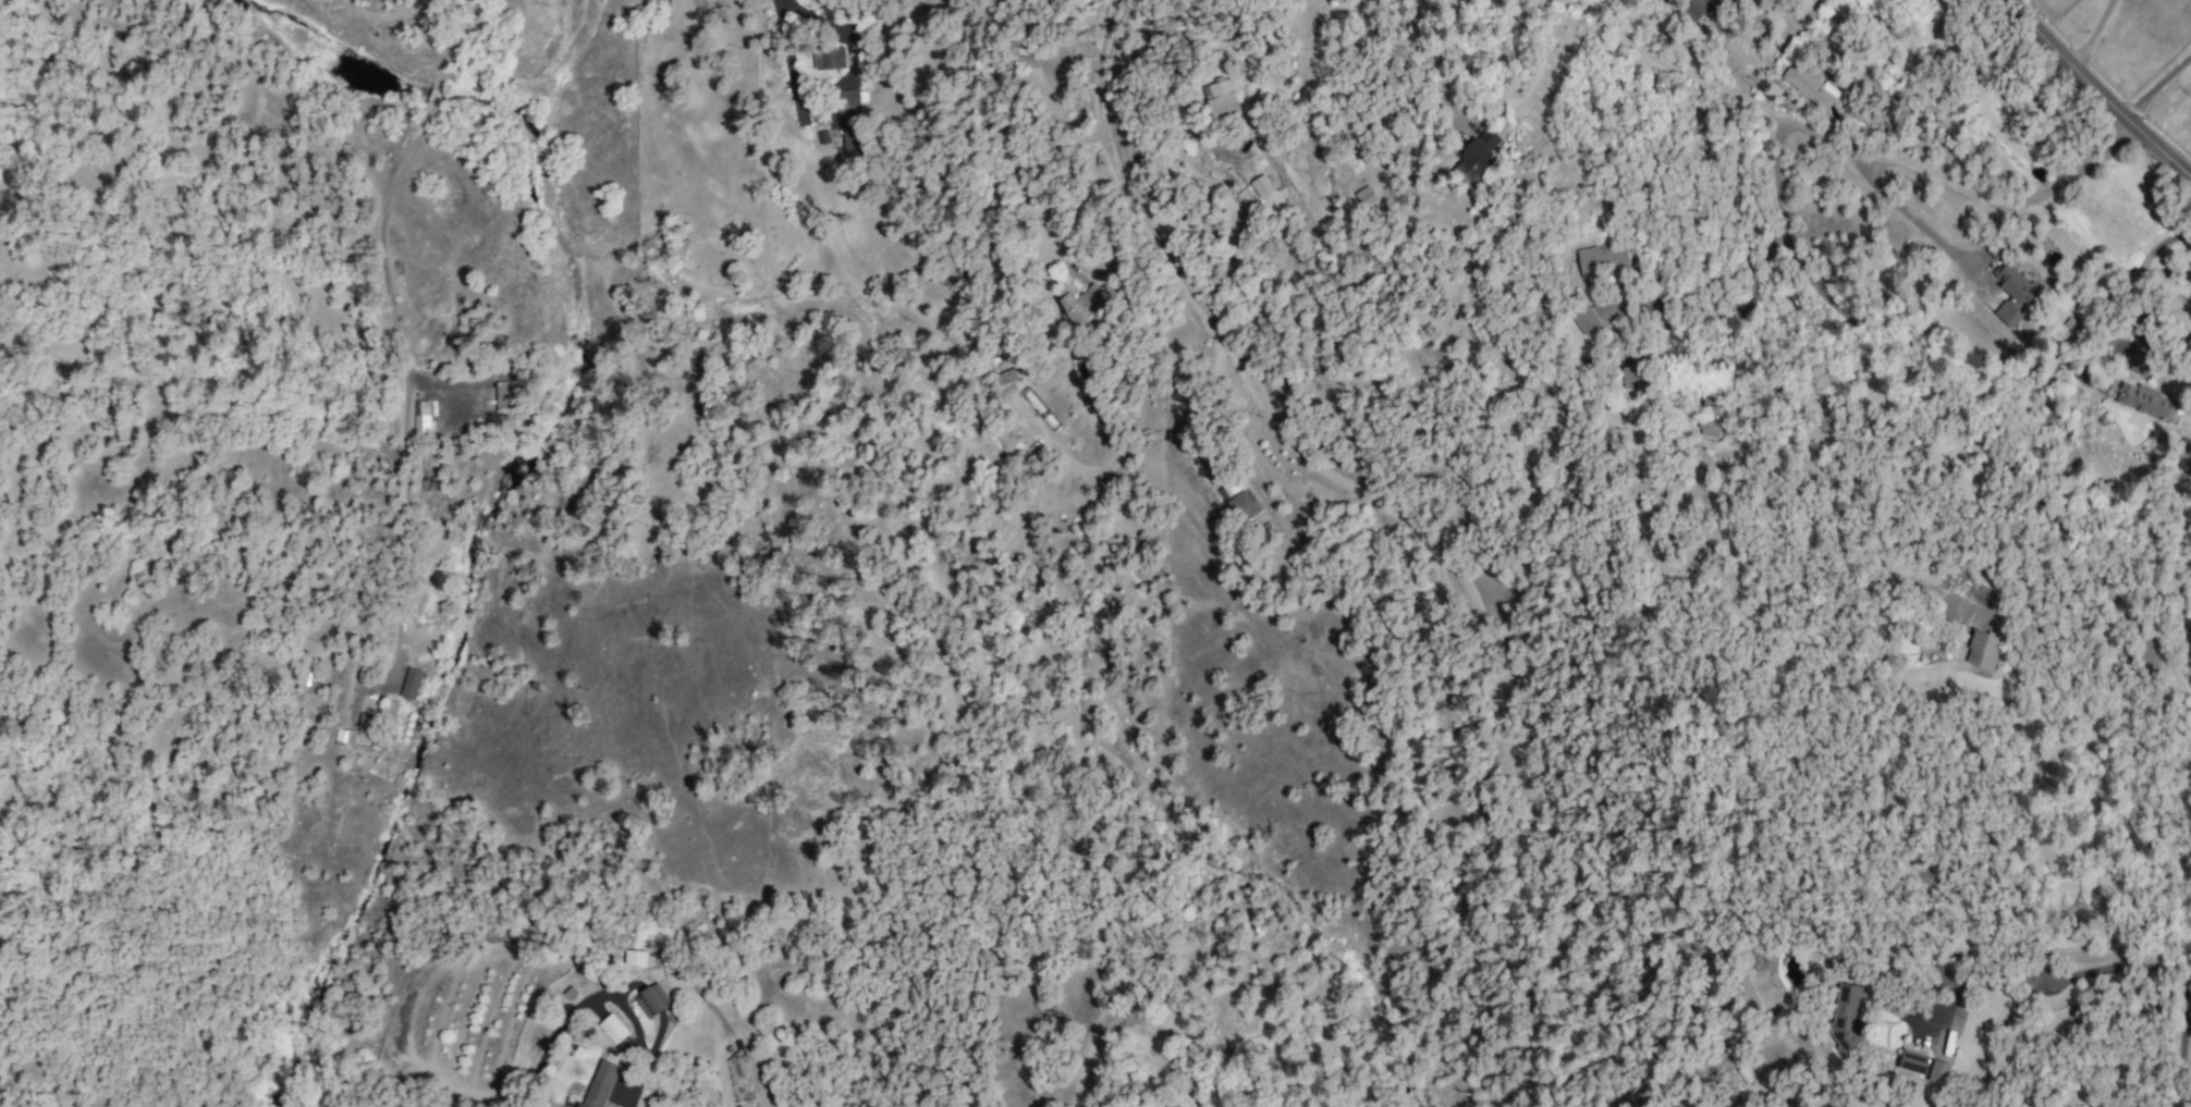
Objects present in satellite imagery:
road: (835, 32)
road: (2092, 32)
road: (455, 46)
building: (1014, 53)
building: (828, 58)
road: (791, 59)
road: (1404, 62)
road: (2158, 85)
building: (1807, 86)
road: (2098, 89)
road: (432, 98)
building: (1221, 99)
building: (846, 102)
road: (1060, 116)
building: (852, 139)
road: (1857, 146)
building: (1476, 158)
building: (1260, 186)
building: (1364, 196)
road: (1920, 226)
road: (378, 235)
building: (1604, 259)
road: (2139, 270)
building: (2012, 294)
building: (1081, 304)
building: (1598, 313)
road: (1244, 366)
building: (2139, 366)
building: (1632, 382)
building: (502, 397)
building: (2142, 401)
building: (419, 418)
building: (1709, 418)
road: (1946, 421)
building: (1231, 489)
building: (1244, 506)
building: (1982, 650)
building: (1890, 662)
building: (409, 684)
building: (366, 734)
building: (635, 958)
road: (2172, 986)
building: (651, 1000)
building: (1846, 1012)
building: (612, 1029)
building: (1912, 1061)
building: (1937, 1072)
building: (599, 1084)

